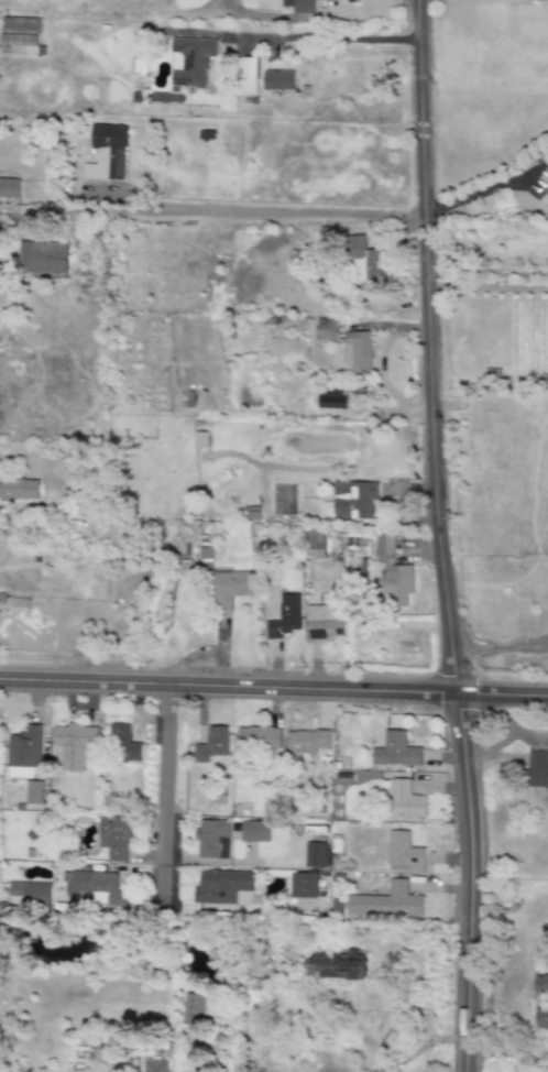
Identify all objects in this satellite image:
building: (299, 6)
road: (344, 39)
building: (190, 63)
building: (245, 76)
building: (277, 80)
building: (106, 153)
building: (9, 188)
building: (546, 192)
road: (480, 193)
road: (223, 211)
building: (42, 258)
building: (365, 261)
road: (490, 289)
building: (322, 329)
road: (434, 349)
building: (358, 351)
building: (330, 400)
building: (19, 489)
building: (351, 501)
building: (204, 558)
building: (393, 572)
building: (285, 617)
building: (325, 622)
road: (500, 646)
road: (274, 688)
building: (256, 739)
building: (307, 741)
building: (74, 745)
building: (123, 745)
building: (211, 745)
building: (395, 752)
building: (23, 753)
building: (537, 769)
building: (33, 792)
road: (167, 796)
building: (406, 800)
building: (254, 832)
building: (113, 838)
building: (212, 839)
building: (403, 854)
building: (314, 855)
road: (459, 884)
building: (303, 886)
building: (95, 887)
building: (224, 888)
building: (30, 893)
building: (386, 903)
building: (337, 964)
building: (541, 984)
building: (194, 1008)
building: (541, 1018)
road: (505, 1051)
building: (155, 1065)
building: (523, 1069)

